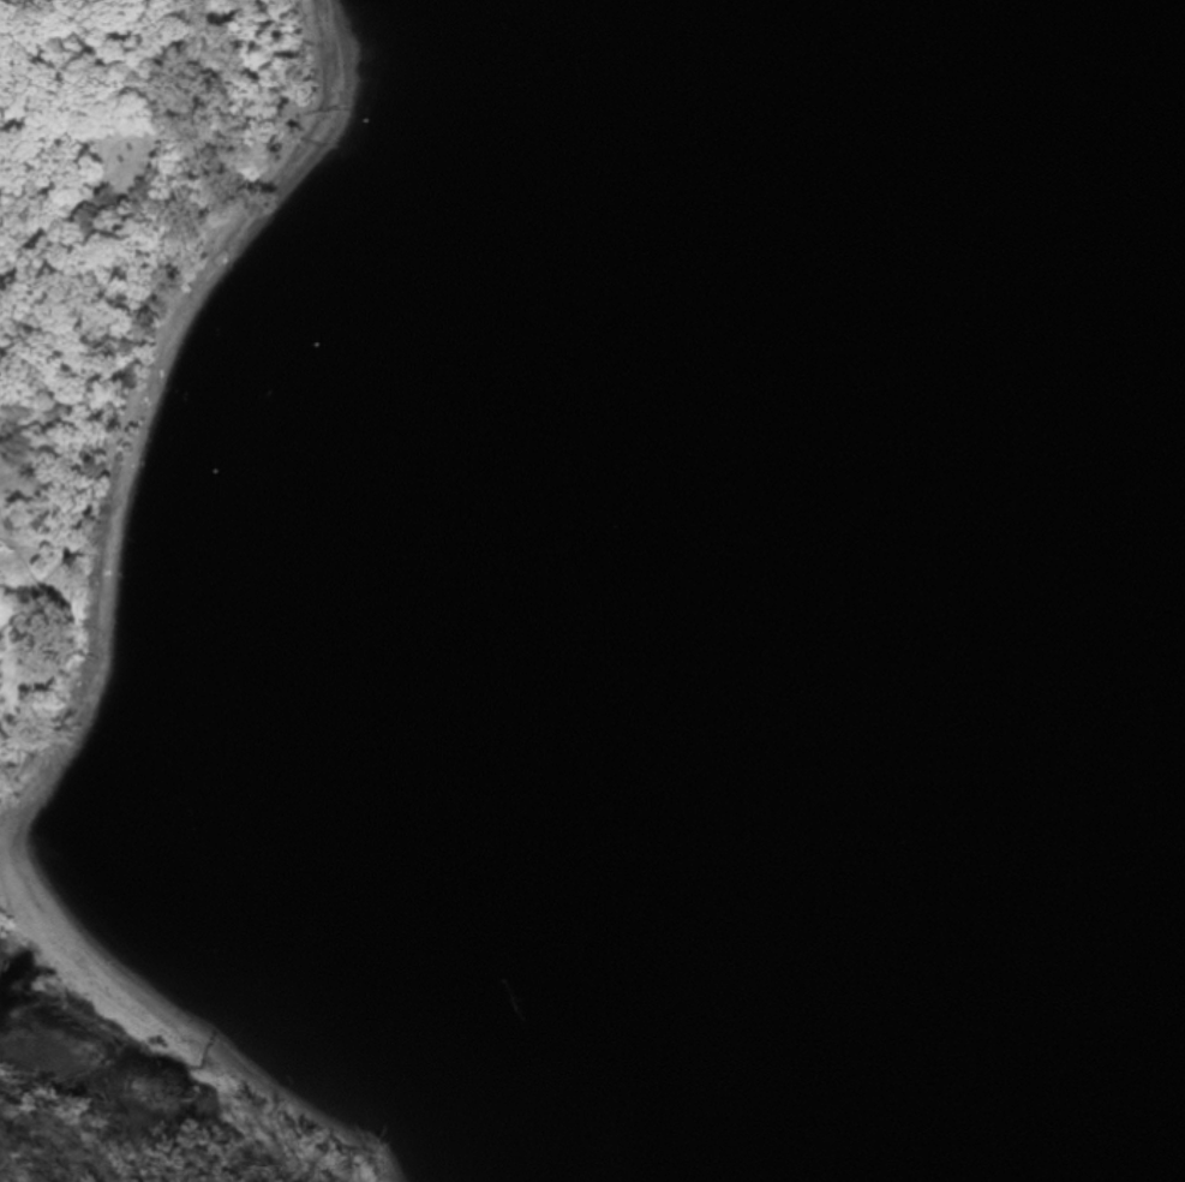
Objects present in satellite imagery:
road: (85, 67)
road: (97, 178)
river: (1129, 243)
park: (133, 533)
road: (70, 539)
river: (1137, 832)

